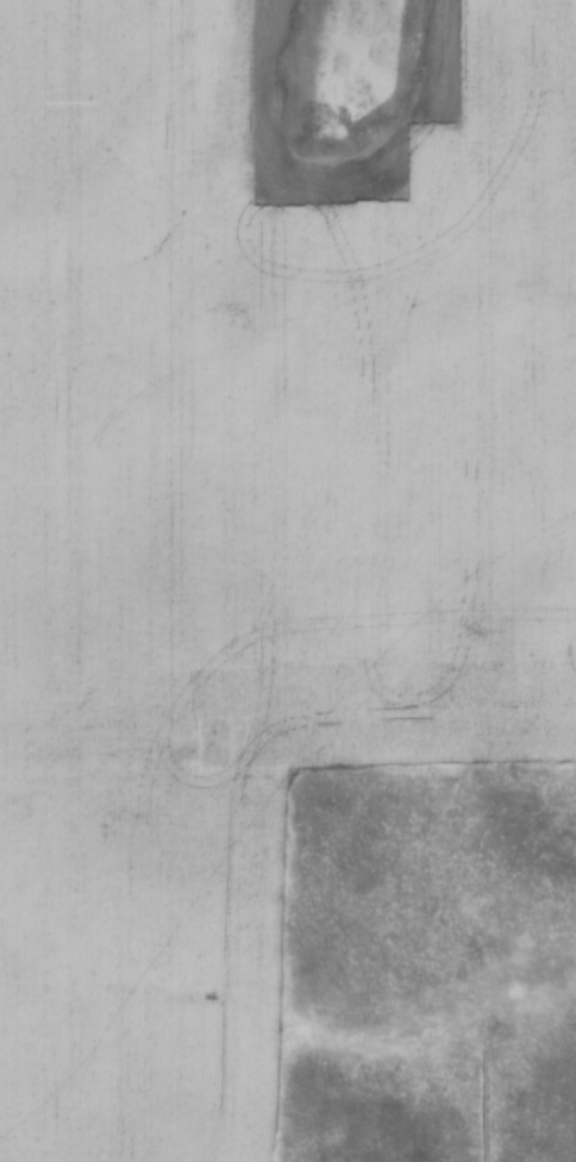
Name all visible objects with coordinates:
road: (288, 738)

